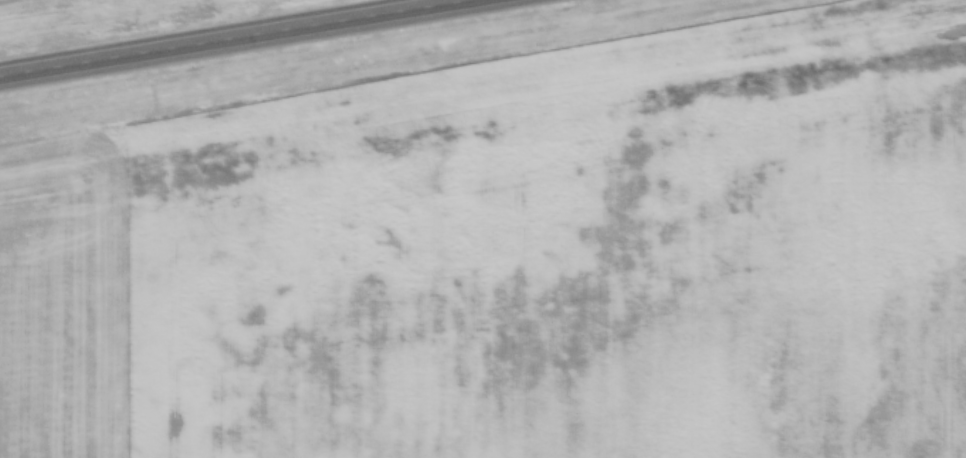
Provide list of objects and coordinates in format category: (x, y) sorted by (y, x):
road: (229, 37)
road: (914, 188)

